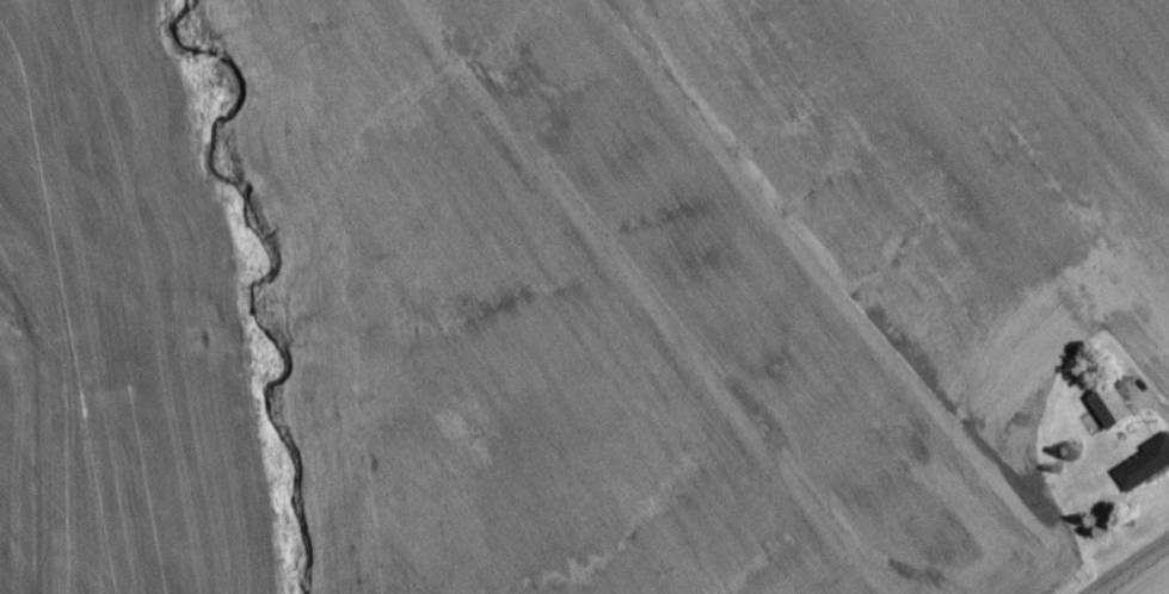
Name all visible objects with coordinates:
building: (1113, 414)
building: (1145, 472)
road: (1128, 567)

